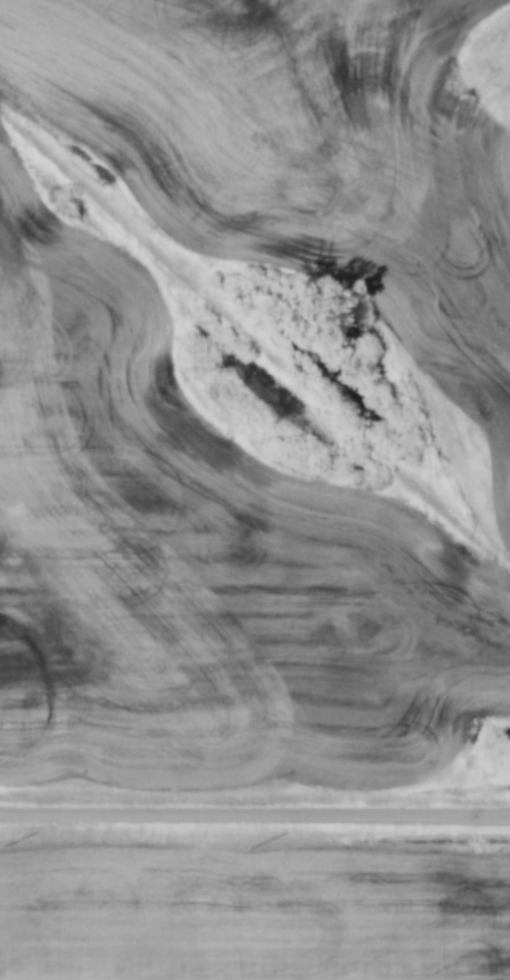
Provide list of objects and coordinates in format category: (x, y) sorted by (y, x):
road: (255, 808)

